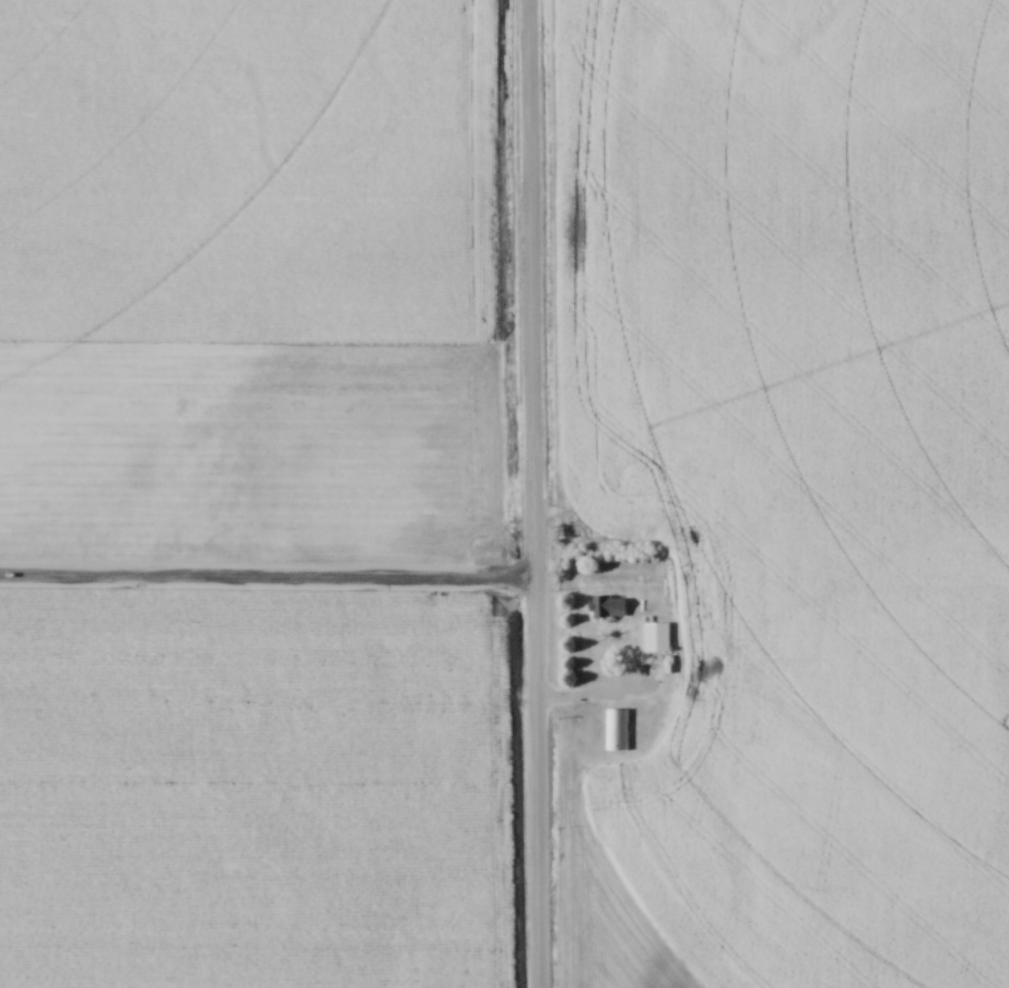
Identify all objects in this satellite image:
crop: (254, 451)
road: (529, 494)
road: (265, 577)
building: (608, 607)
building: (655, 632)
building: (696, 683)
road: (592, 693)
building: (617, 725)

